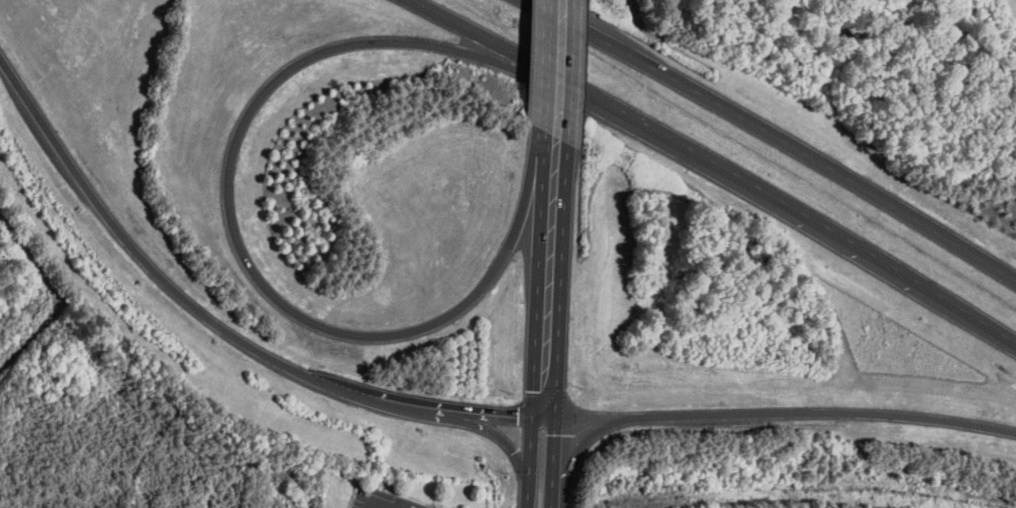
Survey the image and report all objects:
road: (546, 66)
road: (569, 72)
road: (546, 140)
road: (767, 145)
road: (717, 172)
road: (229, 201)
road: (562, 283)
road: (539, 285)
road: (51, 297)
road: (211, 323)
road: (774, 415)
traffic signals: (532, 422)
traffic signals: (556, 422)
road: (485, 429)
road: (528, 465)
road: (553, 465)
road: (395, 502)

